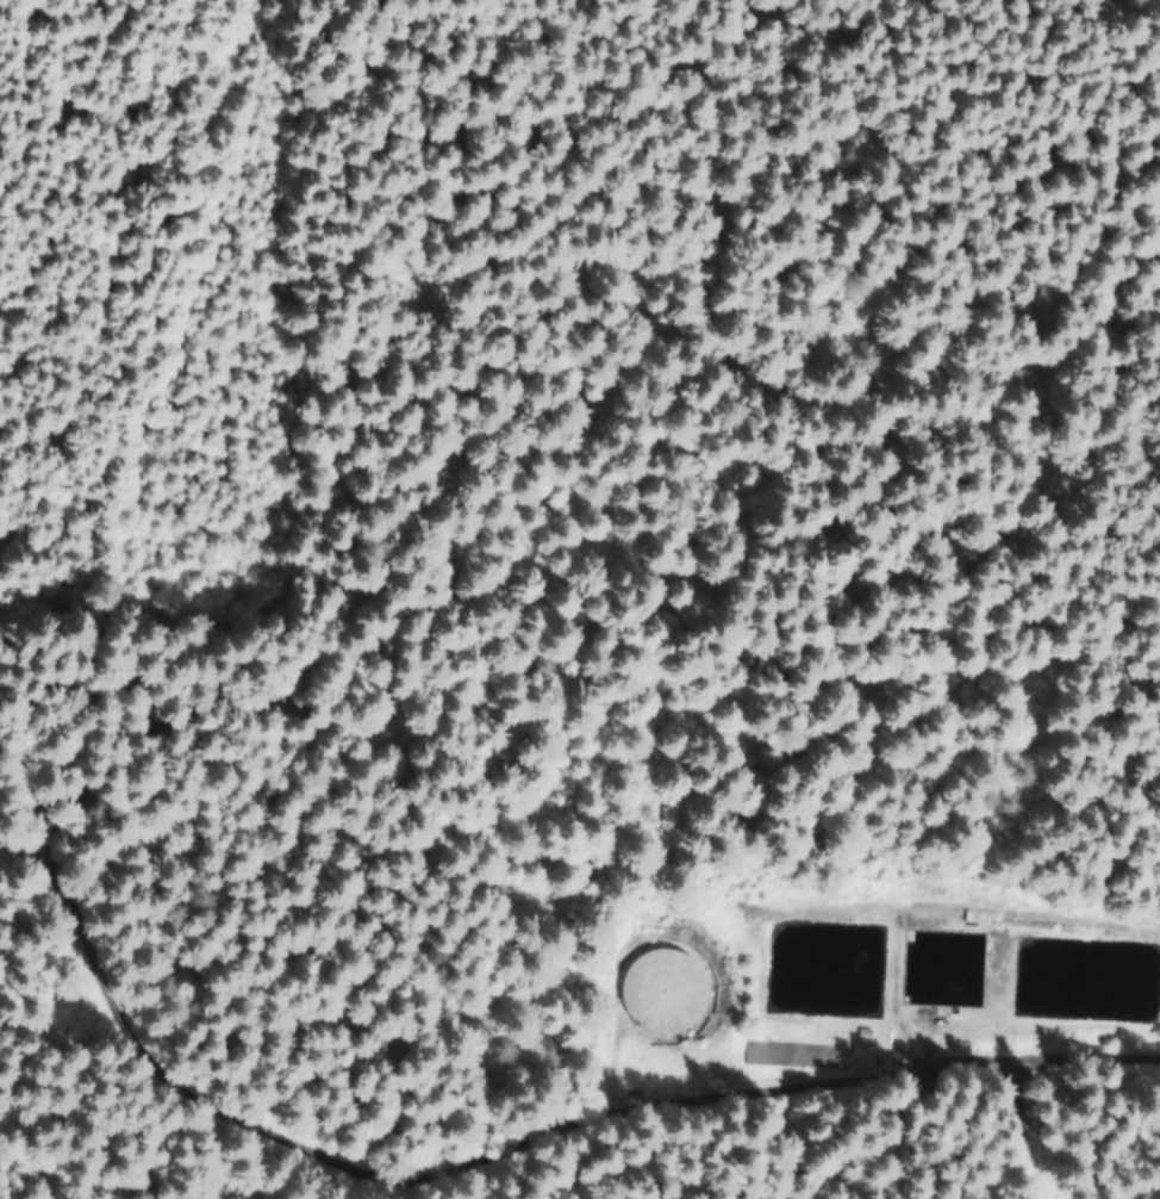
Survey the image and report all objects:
road: (126, 472)
building: (661, 992)
building: (861, 1057)
road: (958, 1131)
road: (512, 1155)
road: (338, 1179)

